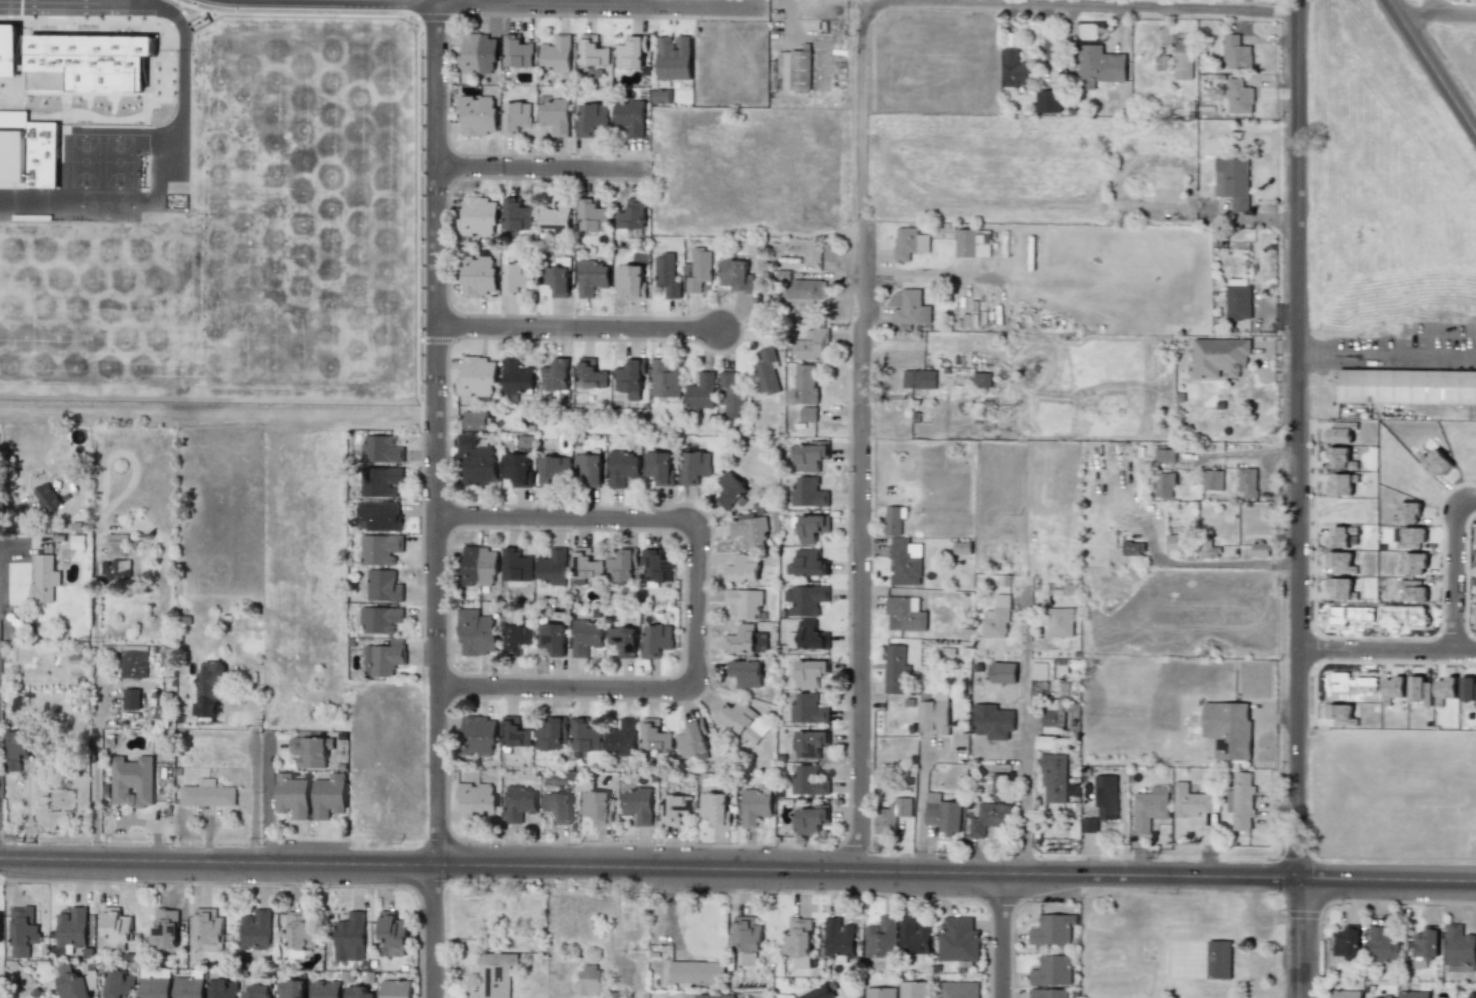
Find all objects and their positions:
road: (129, 2)
road: (327, 2)
road: (70, 4)
road: (600, 5)
road: (1079, 7)
road: (1440, 15)
road: (814, 35)
building: (9, 50)
building: (518, 51)
building: (592, 51)
building: (1235, 51)
building: (631, 52)
building: (478, 53)
building: (556, 53)
building: (673, 57)
building: (1183, 59)
building: (93, 60)
building: (1161, 61)
road: (1435, 62)
building: (1098, 67)
building: (1015, 68)
building: (794, 70)
building: (34, 82)
building: (661, 96)
building: (1240, 96)
building: (1048, 101)
building: (478, 114)
building: (555, 114)
building: (516, 117)
building: (629, 117)
building: (590, 118)
building: (27, 152)
road: (542, 167)
building: (1233, 181)
building: (517, 215)
building: (591, 215)
building: (479, 216)
building: (555, 216)
building: (630, 216)
building: (907, 242)
building: (973, 242)
building: (698, 267)
building: (666, 274)
building: (736, 274)
building: (480, 275)
building: (592, 277)
building: (517, 278)
building: (556, 278)
building: (632, 280)
building: (806, 288)
building: (1238, 299)
building: (911, 307)
road: (576, 328)
building: (812, 344)
building: (1221, 357)
road: (1385, 357)
building: (768, 372)
building: (591, 373)
building: (477, 376)
building: (518, 376)
building: (557, 377)
building: (631, 379)
building: (919, 379)
building: (982, 379)
building: (665, 380)
building: (806, 383)
building: (1407, 386)
building: (702, 391)
building: (732, 394)
building: (808, 413)
building: (478, 420)
building: (1340, 433)
road: (863, 439)
building: (380, 449)
building: (810, 454)
building: (1165, 456)
building: (1340, 458)
building: (477, 460)
building: (1436, 463)
building: (623, 467)
building: (659, 467)
building: (693, 467)
building: (518, 468)
building: (553, 469)
building: (588, 469)
building: (1212, 479)
building: (382, 481)
building: (1247, 482)
building: (1165, 484)
building: (1341, 484)
building: (730, 490)
building: (808, 492)
building: (47, 497)
road: (1294, 499)
road: (434, 501)
building: (1409, 513)
building: (381, 514)
building: (748, 527)
building: (811, 527)
building: (1340, 536)
building: (1411, 538)
building: (78, 541)
building: (1175, 542)
building: (116, 544)
building: (962, 547)
building: (1132, 548)
building: (1208, 548)
building: (1260, 548)
building: (381, 549)
building: (902, 549)
building: (1341, 562)
building: (808, 563)
building: (1413, 563)
building: (585, 564)
road: (1453, 564)
building: (517, 565)
building: (478, 566)
building: (622, 566)
building: (658, 566)
building: (552, 567)
building: (743, 568)
building: (115, 571)
building: (44, 579)
building: (383, 585)
building: (1341, 589)
building: (1412, 590)
building: (808, 599)
building: (744, 600)
road: (696, 604)
building: (904, 613)
building: (997, 617)
building: (379, 619)
building: (1062, 622)
building: (476, 632)
building: (584, 636)
building: (809, 636)
building: (552, 637)
building: (517, 639)
building: (656, 639)
building: (745, 639)
building: (623, 640)
road: (1384, 648)
building: (384, 658)
building: (134, 661)
building: (895, 668)
building: (1041, 670)
building: (745, 672)
building: (811, 672)
building: (1003, 672)
building: (209, 688)
building: (1393, 689)
building: (1419, 689)
building: (1445, 689)
building: (1468, 689)
building: (131, 698)
building: (808, 708)
building: (1340, 714)
building: (1054, 715)
building: (935, 717)
building: (739, 718)
building: (993, 721)
building: (1228, 729)
building: (515, 732)
building: (552, 734)
building: (478, 735)
building: (585, 735)
building: (654, 735)
building: (621, 737)
building: (692, 739)
road: (1024, 739)
building: (809, 742)
building: (1046, 742)
building: (17, 748)
building: (310, 749)
building: (1053, 778)
road: (95, 779)
building: (807, 779)
building: (132, 780)
building: (1001, 786)
building: (207, 794)
road: (254, 794)
building: (292, 795)
building: (329, 796)
building: (1105, 797)
building: (477, 801)
building: (1194, 801)
building: (1243, 801)
building: (519, 802)
building: (637, 804)
building: (598, 805)
building: (756, 805)
building: (557, 807)
road: (921, 807)
building: (1151, 807)
building: (675, 808)
building: (716, 808)
building: (891, 814)
building: (942, 814)
building: (811, 818)
building: (989, 818)
building: (1089, 825)
road: (737, 871)
building: (0, 913)
building: (71, 927)
building: (117, 927)
building: (209, 928)
building: (165, 930)
building: (256, 930)
building: (23, 931)
building: (1051, 931)
building: (299, 933)
building: (393, 934)
building: (914, 935)
building: (349, 936)
building: (748, 937)
building: (881, 937)
road: (1000, 937)
building: (839, 939)
building: (958, 940)
building: (799, 942)
building: (1347, 942)
building: (1425, 946)
building: (1383, 947)
building: (1459, 948)
building: (1218, 959)
building: (1052, 970)
building: (697, 972)
building: (494, 974)
building: (589, 979)
building: (119, 983)
building: (155, 984)
building: (73, 985)
building: (190, 985)
building: (223, 988)
building: (259, 988)
building: (291, 988)
building: (325, 988)
building: (395, 988)
building: (915, 989)
building: (958, 989)
building: (360, 991)
building: (818, 992)
building: (881, 992)
building: (1049, 993)
building: (1345, 993)
building: (1413, 994)
building: (709, 995)
building: (1471, 997)

